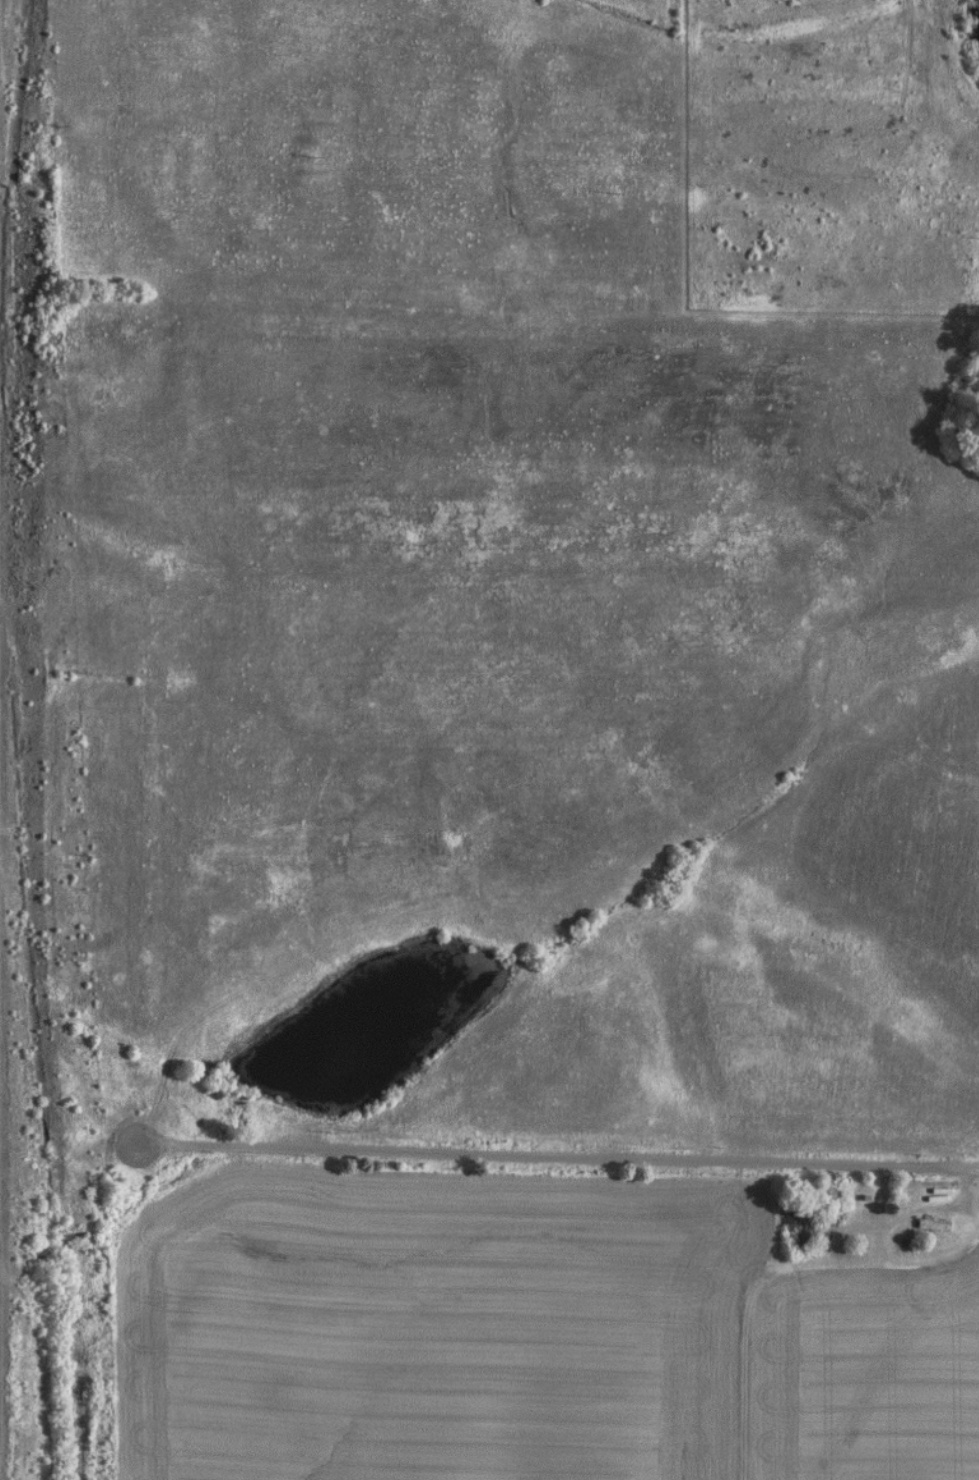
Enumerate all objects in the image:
road: (550, 1156)
building: (927, 1226)
building: (793, 1229)

